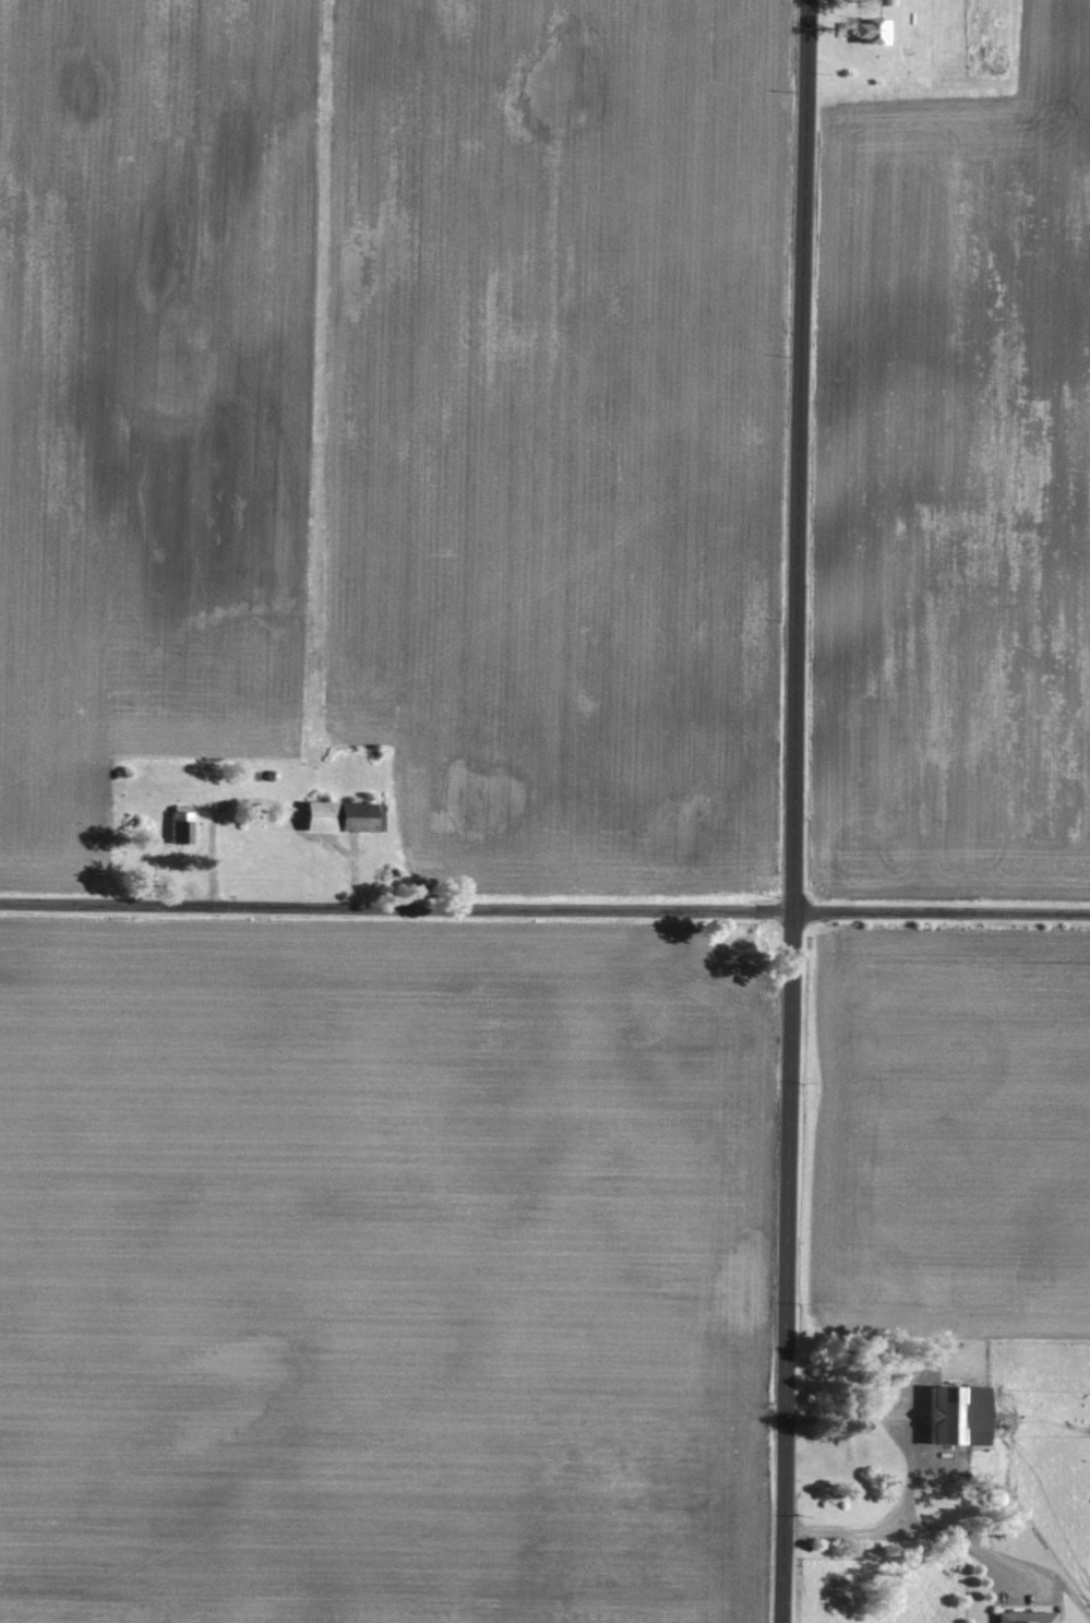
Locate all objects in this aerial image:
building: (870, 28)
road: (799, 455)
building: (343, 814)
building: (178, 824)
road: (544, 908)
road: (787, 1267)
building: (957, 1413)
road: (897, 1418)
road: (959, 1494)
road: (913, 1529)
building: (1025, 1615)

